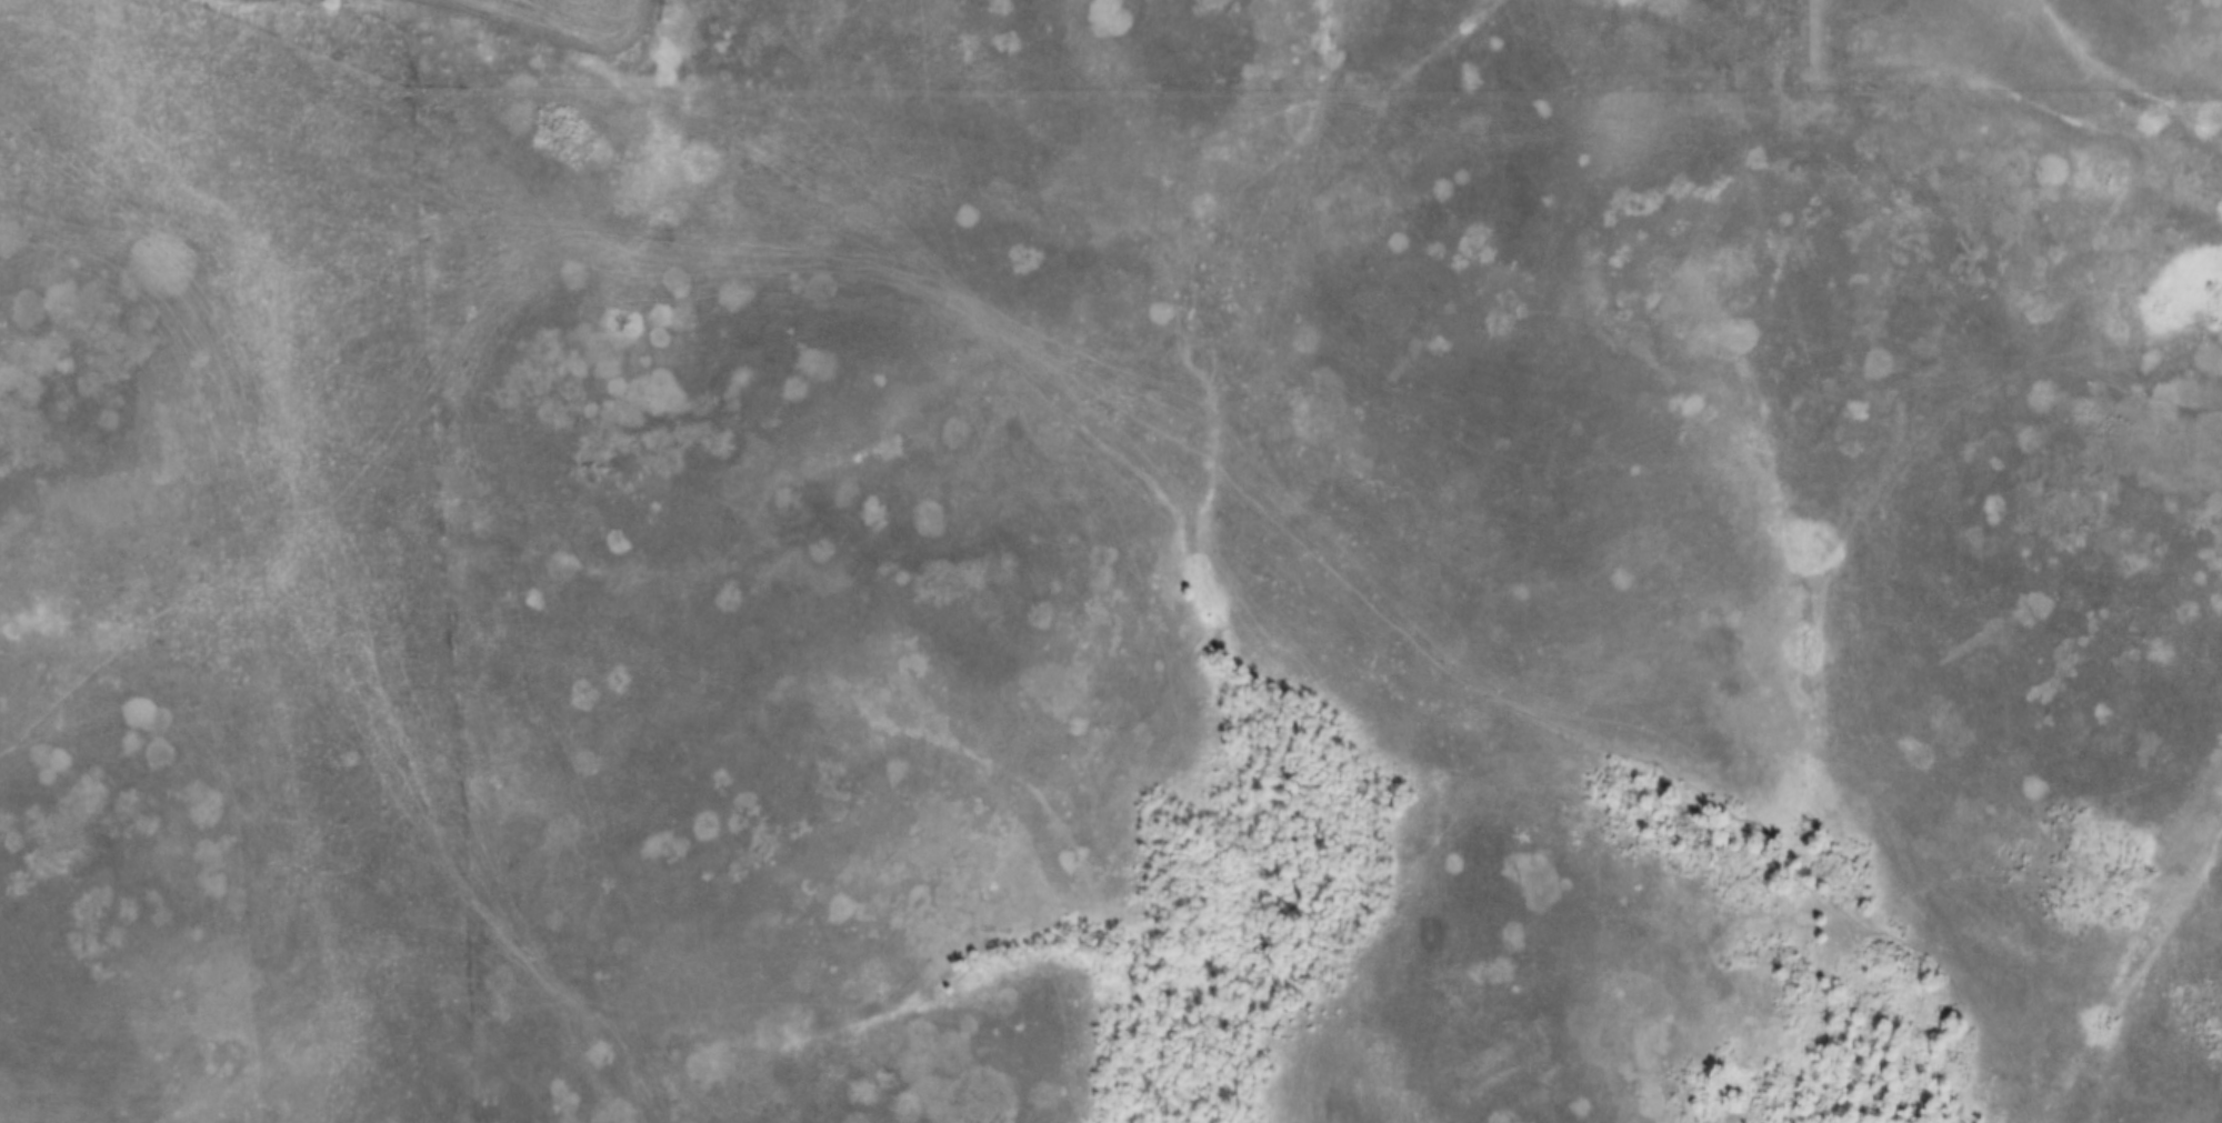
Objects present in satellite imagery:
road: (1819, 60)

